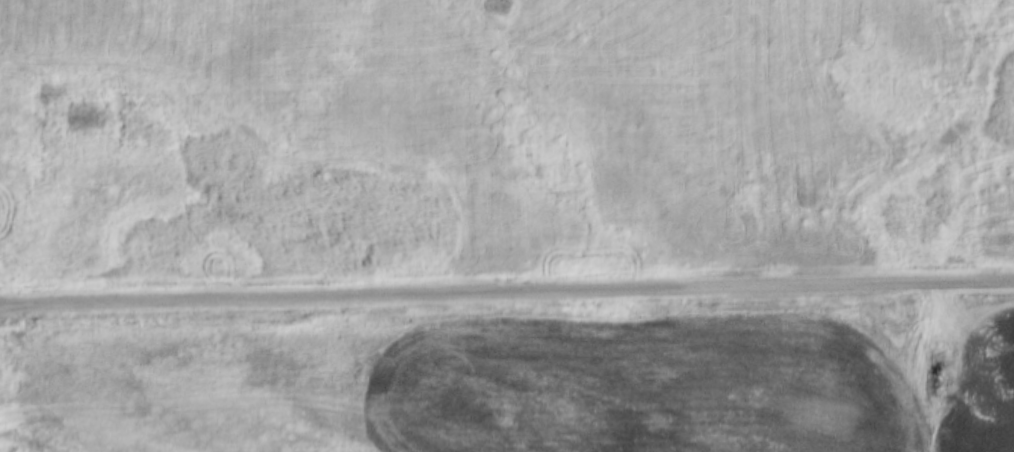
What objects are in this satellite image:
road: (507, 299)
river: (2, 451)

